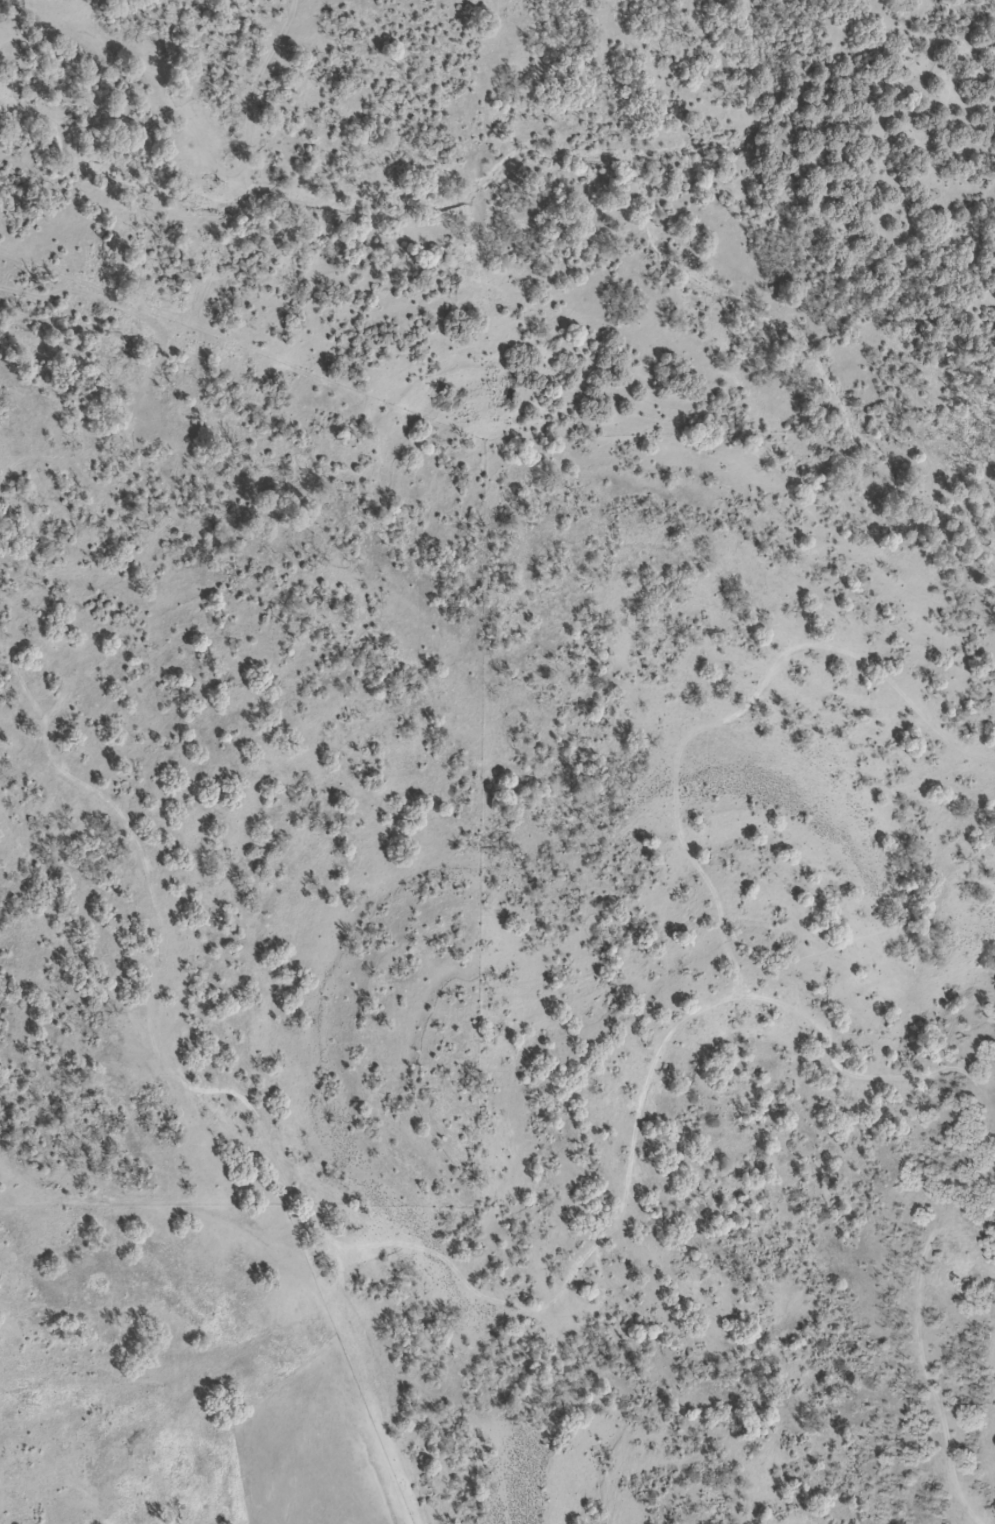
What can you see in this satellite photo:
road: (275, 1270)
road: (53, 1465)

